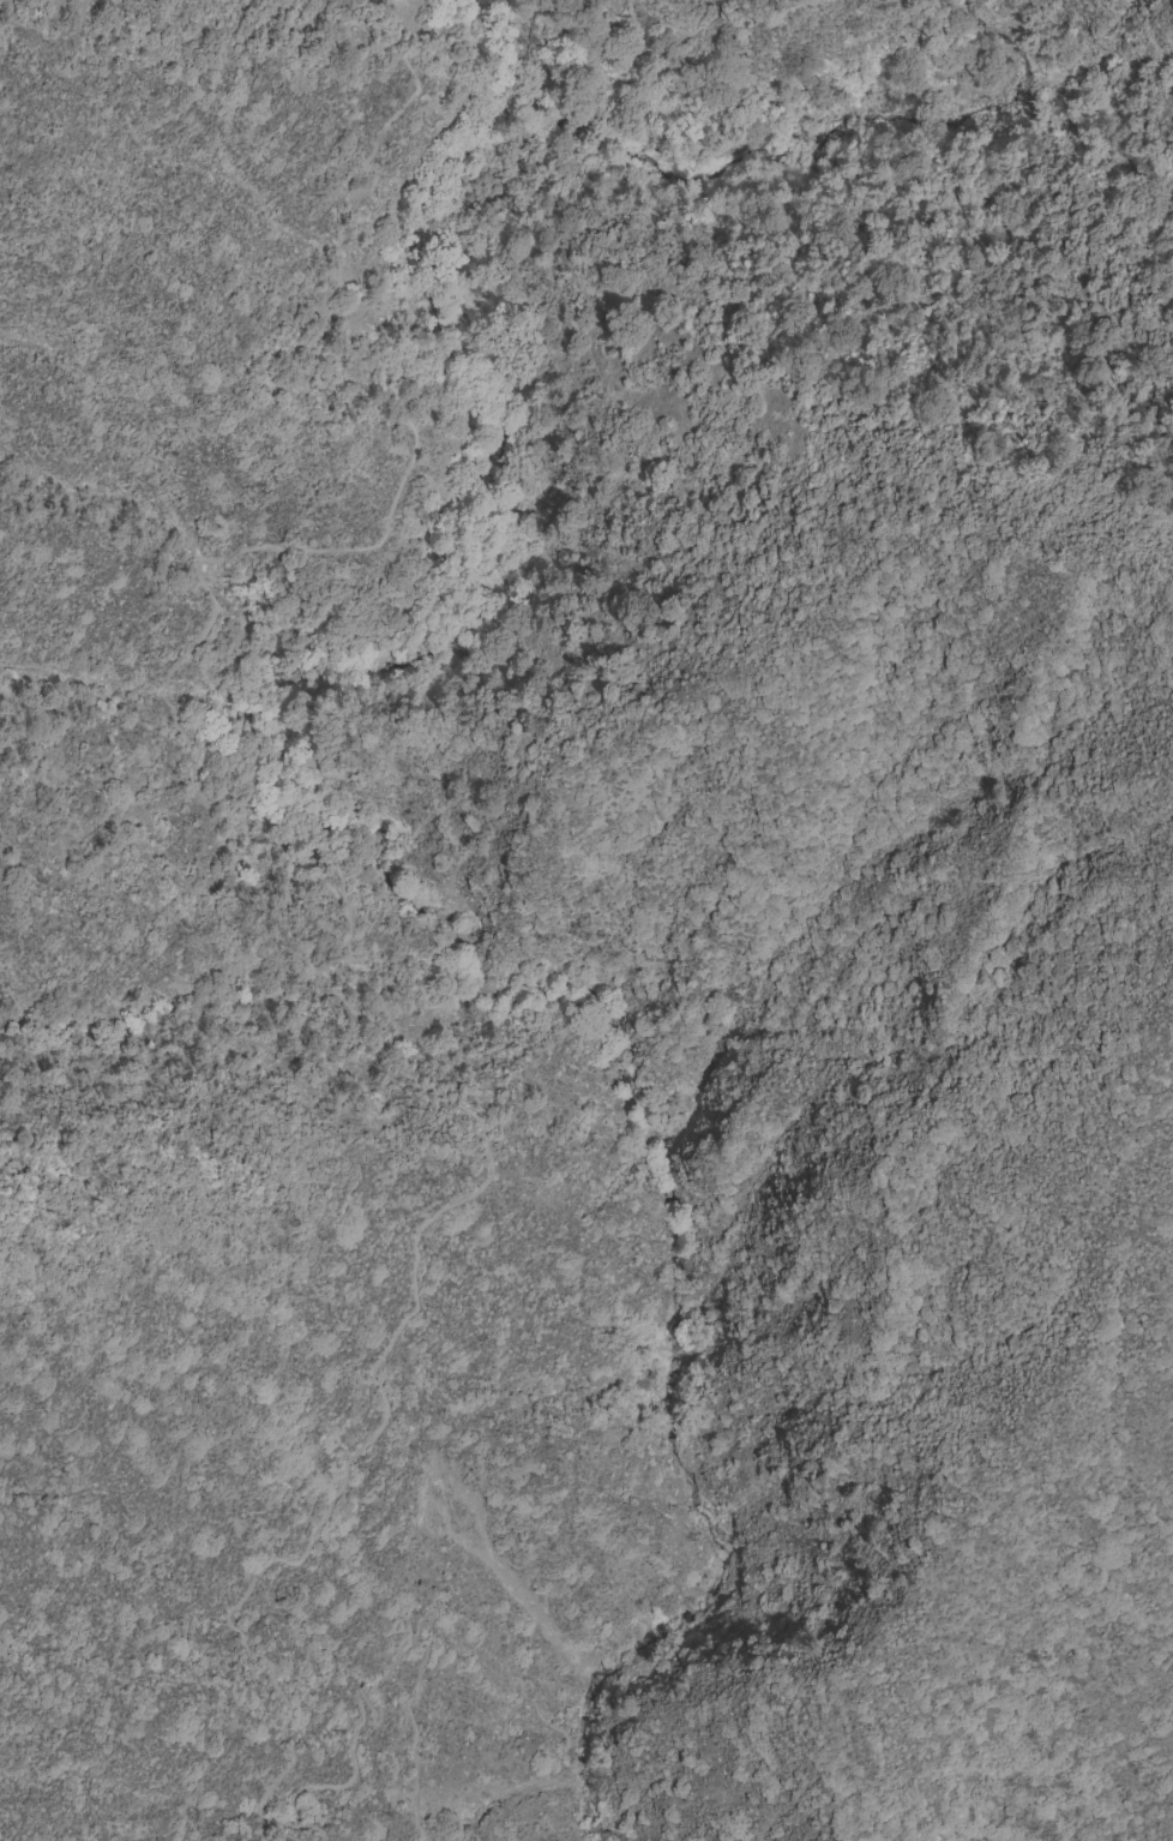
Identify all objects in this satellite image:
road: (385, 43)
road: (200, 589)
road: (287, 812)
road: (282, 1747)

